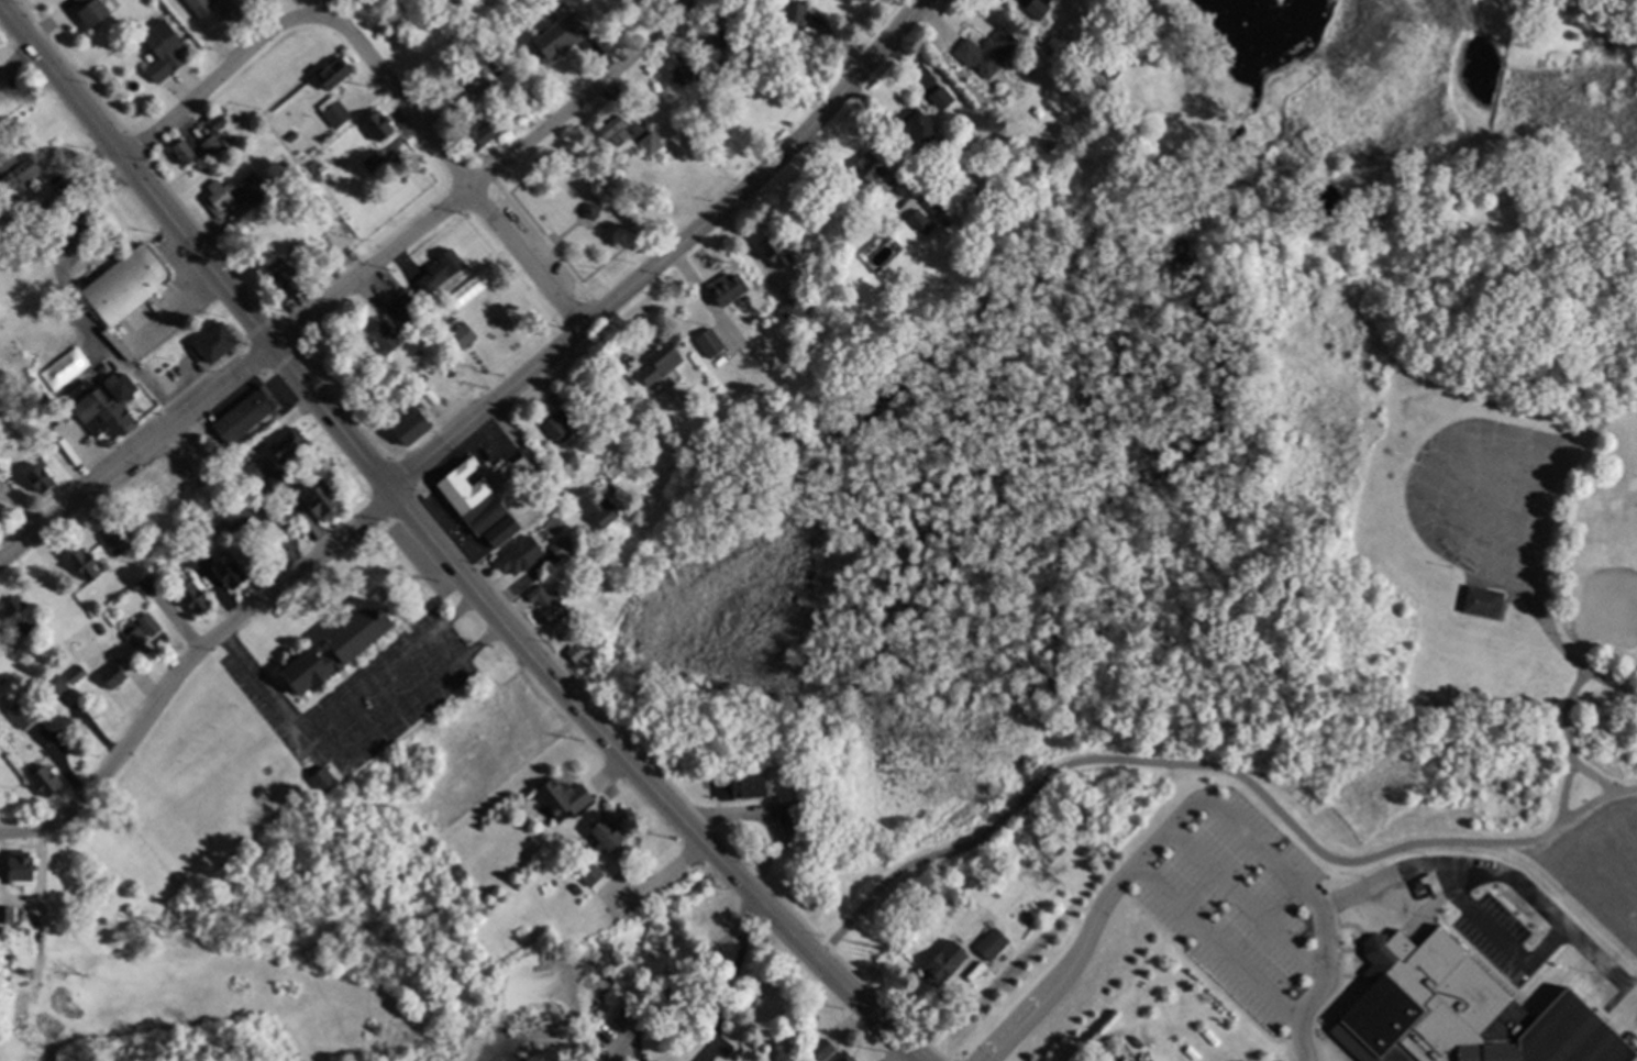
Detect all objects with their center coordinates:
building: (862, 0)
road: (449, 2)
building: (203, 7)
building: (240, 7)
road: (320, 7)
road: (352, 8)
building: (1040, 8)
building: (798, 10)
building: (95, 12)
building: (561, 38)
building: (721, 40)
building: (815, 47)
building: (166, 51)
building: (996, 54)
building: (687, 71)
building: (1110, 73)
building: (336, 74)
road: (215, 78)
building: (478, 82)
building: (941, 93)
building: (336, 112)
building: (695, 118)
building: (381, 126)
building: (617, 131)
building: (480, 134)
building: (927, 134)
building: (295, 135)
building: (225, 140)
building: (652, 144)
building: (212, 147)
building: (186, 152)
building: (662, 157)
building: (377, 163)
road: (452, 168)
building: (290, 169)
building: (324, 169)
building: (874, 172)
building: (970, 173)
building: (26, 174)
building: (255, 187)
building: (222, 198)
building: (296, 201)
building: (938, 202)
building: (594, 210)
building: (22, 214)
road: (67, 222)
building: (922, 222)
road: (193, 248)
building: (778, 252)
road: (667, 256)
building: (442, 272)
building: (286, 277)
building: (130, 285)
building: (733, 288)
road: (328, 299)
building: (794, 311)
building: (405, 313)
building: (496, 323)
building: (461, 335)
building: (386, 338)
building: (217, 343)
building: (711, 343)
building: (505, 354)
building: (663, 362)
building: (452, 369)
building: (106, 371)
building: (425, 377)
building: (110, 408)
building: (613, 410)
building: (247, 416)
building: (562, 424)
building: (414, 427)
building: (290, 444)
park: (1262, 447)
building: (4, 457)
building: (623, 465)
building: (2, 466)
building: (258, 471)
park: (1494, 472)
building: (43, 477)
building: (279, 482)
building: (475, 498)
building: (321, 500)
building: (245, 510)
building: (605, 511)
building: (502, 532)
building: (112, 544)
building: (565, 546)
building: (196, 552)
road: (1541, 552)
building: (522, 556)
building: (88, 565)
park: (1608, 568)
building: (232, 571)
building: (143, 576)
building: (597, 587)
building: (197, 599)
building: (1485, 601)
building: (551, 604)
building: (21, 614)
building: (152, 625)
building: (102, 629)
building: (141, 642)
building: (340, 648)
building: (580, 651)
road: (187, 661)
road: (390, 667)
building: (78, 675)
building: (115, 676)
building: (59, 686)
road: (419, 695)
road: (276, 701)
building: (20, 716)
road: (1567, 745)
road: (1215, 770)
road: (1595, 778)
building: (47, 781)
building: (325, 781)
road: (648, 784)
building: (743, 787)
building: (800, 792)
building: (564, 797)
building: (793, 811)
building: (607, 835)
road: (1135, 860)
road: (1428, 866)
building: (22, 871)
building: (593, 873)
road: (37, 884)
building: (578, 888)
road: (738, 902)
road: (1245, 902)
building: (8, 915)
building: (102, 920)
building: (963, 921)
building: (3, 929)
road: (1217, 941)
building: (10, 944)
building: (994, 944)
building: (947, 963)
building: (8, 981)
road: (676, 987)
road: (728, 991)
building: (1422, 1006)
building: (826, 1049)
building: (850, 1058)
building: (814, 1060)

